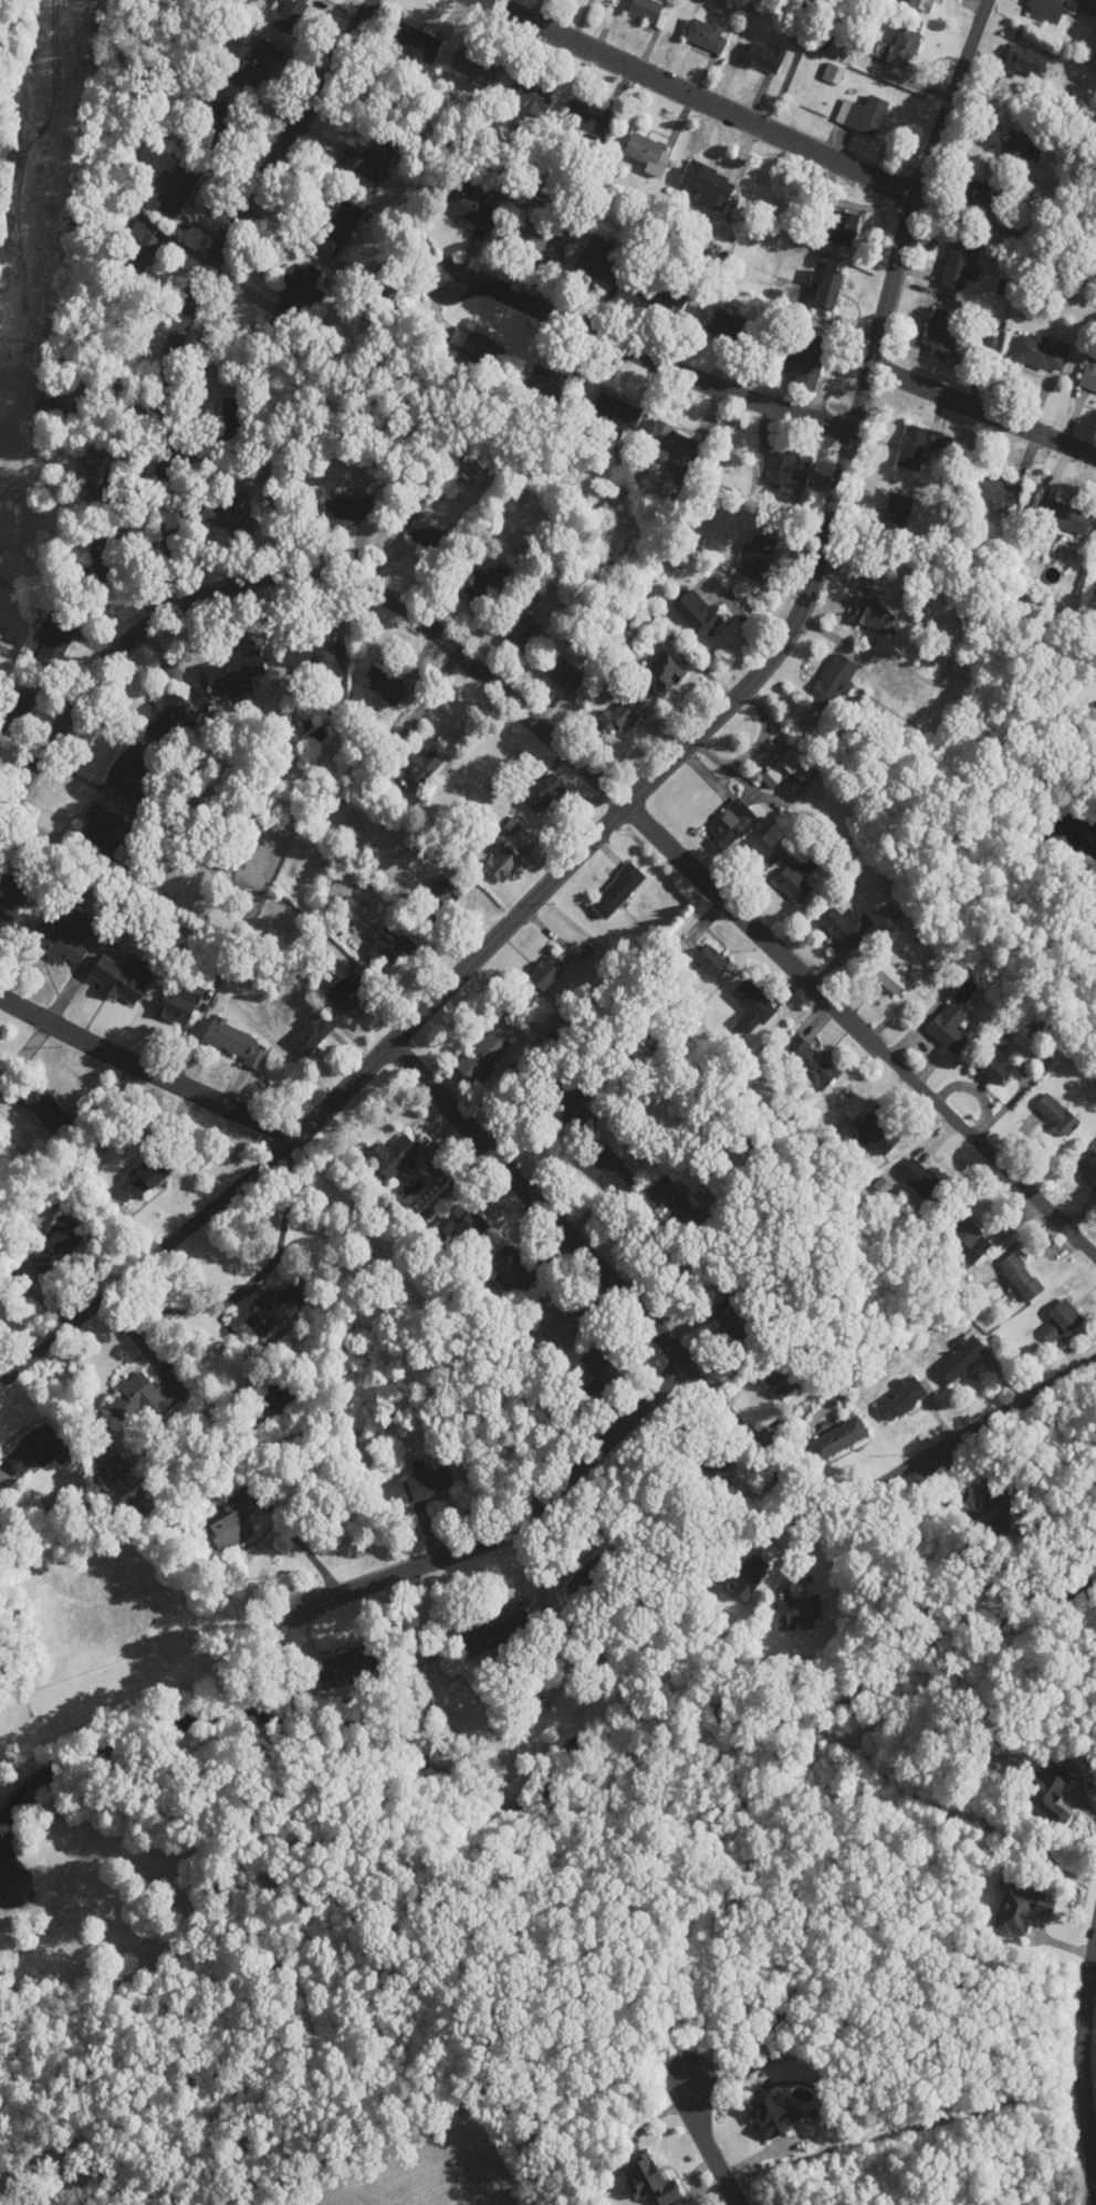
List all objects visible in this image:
building: (922, 4)
building: (1060, 8)
building: (646, 10)
building: (289, 14)
building: (706, 34)
building: (413, 36)
building: (900, 49)
building: (764, 58)
building: (1024, 62)
building: (253, 65)
building: (473, 67)
building: (834, 74)
building: (530, 95)
road: (695, 98)
building: (863, 115)
building: (586, 121)
building: (212, 126)
building: (1017, 145)
building: (648, 151)
building: (374, 158)
power tower: (48, 166)
building: (710, 185)
building: (177, 190)
building: (980, 192)
building: (469, 205)
building: (340, 228)
building: (844, 228)
building: (536, 239)
building: (144, 244)
building: (598, 261)
building: (960, 267)
road: (197, 281)
building: (303, 283)
building: (827, 291)
building: (662, 296)
building: (719, 322)
building: (941, 333)
building: (472, 346)
building: (1042, 354)
road: (651, 358)
building: (806, 363)
power tower: (14, 370)
building: (1089, 375)
building: (553, 383)
building: (70, 396)
road: (984, 407)
building: (43, 408)
building: (616, 418)
building: (232, 422)
building: (674, 442)
building: (918, 447)
building: (794, 473)
building: (100, 478)
building: (999, 492)
building: (896, 513)
building: (232, 516)
building: (1062, 519)
building: (424, 532)
building: (100, 558)
building: (756, 564)
building: (482, 586)
building: (698, 615)
building: (874, 617)
building: (520, 631)
building: (54, 641)
building: (316, 658)
building: (234, 673)
building: (563, 675)
building: (834, 681)
building: (17, 713)
building: (170, 717)
building: (618, 719)
road: (564, 746)
building: (421, 765)
building: (785, 766)
building: (128, 774)
road: (645, 788)
building: (543, 792)
building: (732, 825)
building: (775, 832)
building: (105, 836)
building: (503, 864)
building: (797, 880)
building: (616, 891)
building: (442, 894)
building: (10, 902)
building: (847, 927)
building: (63, 941)
building: (390, 947)
building: (711, 960)
building: (544, 974)
building: (890, 978)
building: (123, 979)
building: (348, 992)
building: (177, 1004)
building: (753, 1007)
building: (949, 1028)
building: (312, 1035)
building: (234, 1041)
building: (483, 1055)
building: (808, 1064)
building: (996, 1065)
road: (147, 1069)
building: (2, 1079)
building: (576, 1106)
building: (48, 1110)
building: (1057, 1115)
building: (877, 1133)
building: (395, 1157)
building: (1089, 1164)
building: (612, 1168)
building: (147, 1180)
building: (921, 1180)
building: (672, 1202)
building: (461, 1224)
building: (968, 1235)
building: (55, 1246)
building: (513, 1269)
road: (603, 1275)
building: (1021, 1277)
building: (273, 1307)
building: (1061, 1321)
building: (731, 1323)
building: (561, 1324)
building: (960, 1359)
building: (601, 1368)
building: (785, 1379)
building: (281, 1396)
building: (147, 1399)
building: (901, 1399)
building: (838, 1439)
road: (956, 1441)
building: (36, 1450)
building: (115, 1470)
building: (704, 1474)
building: (427, 1482)
building: (995, 1512)
building: (233, 1522)
road: (515, 1525)
road: (303, 1542)
building: (589, 1577)
building: (749, 1577)
building: (797, 1613)
building: (497, 1633)
building: (341, 1665)
road: (1083, 2069)
road: (706, 2142)

